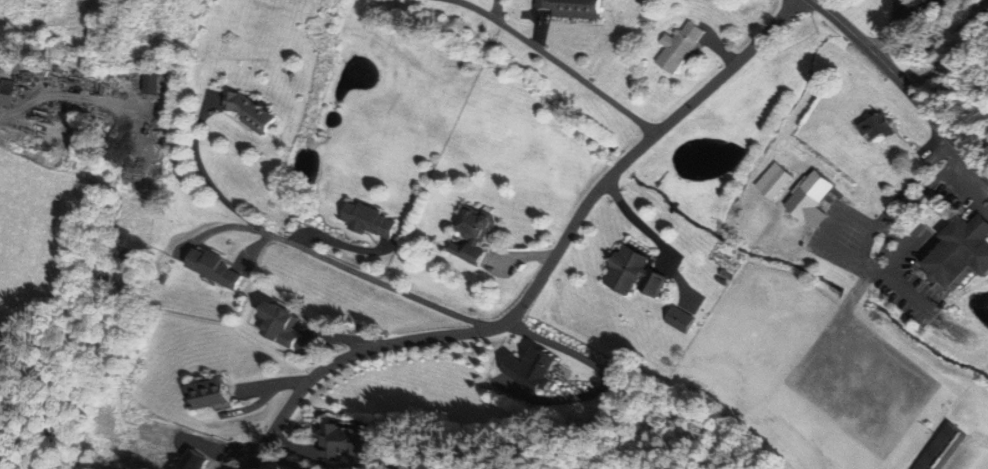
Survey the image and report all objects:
building: (566, 8)
road: (919, 10)
road: (893, 29)
building: (675, 49)
road: (556, 61)
road: (905, 85)
building: (4, 95)
road: (65, 96)
building: (245, 114)
building: (872, 129)
road: (204, 170)
road: (913, 181)
building: (772, 183)
road: (925, 191)
building: (808, 201)
road: (637, 221)
building: (367, 222)
road: (876, 224)
building: (467, 235)
road: (340, 242)
road: (906, 250)
building: (958, 254)
parking lot: (878, 257)
road: (863, 262)
building: (212, 271)
road: (544, 274)
building: (629, 275)
road: (375, 281)
building: (275, 327)
building: (528, 369)
building: (206, 395)
building: (341, 443)
building: (938, 449)
road: (280, 461)

